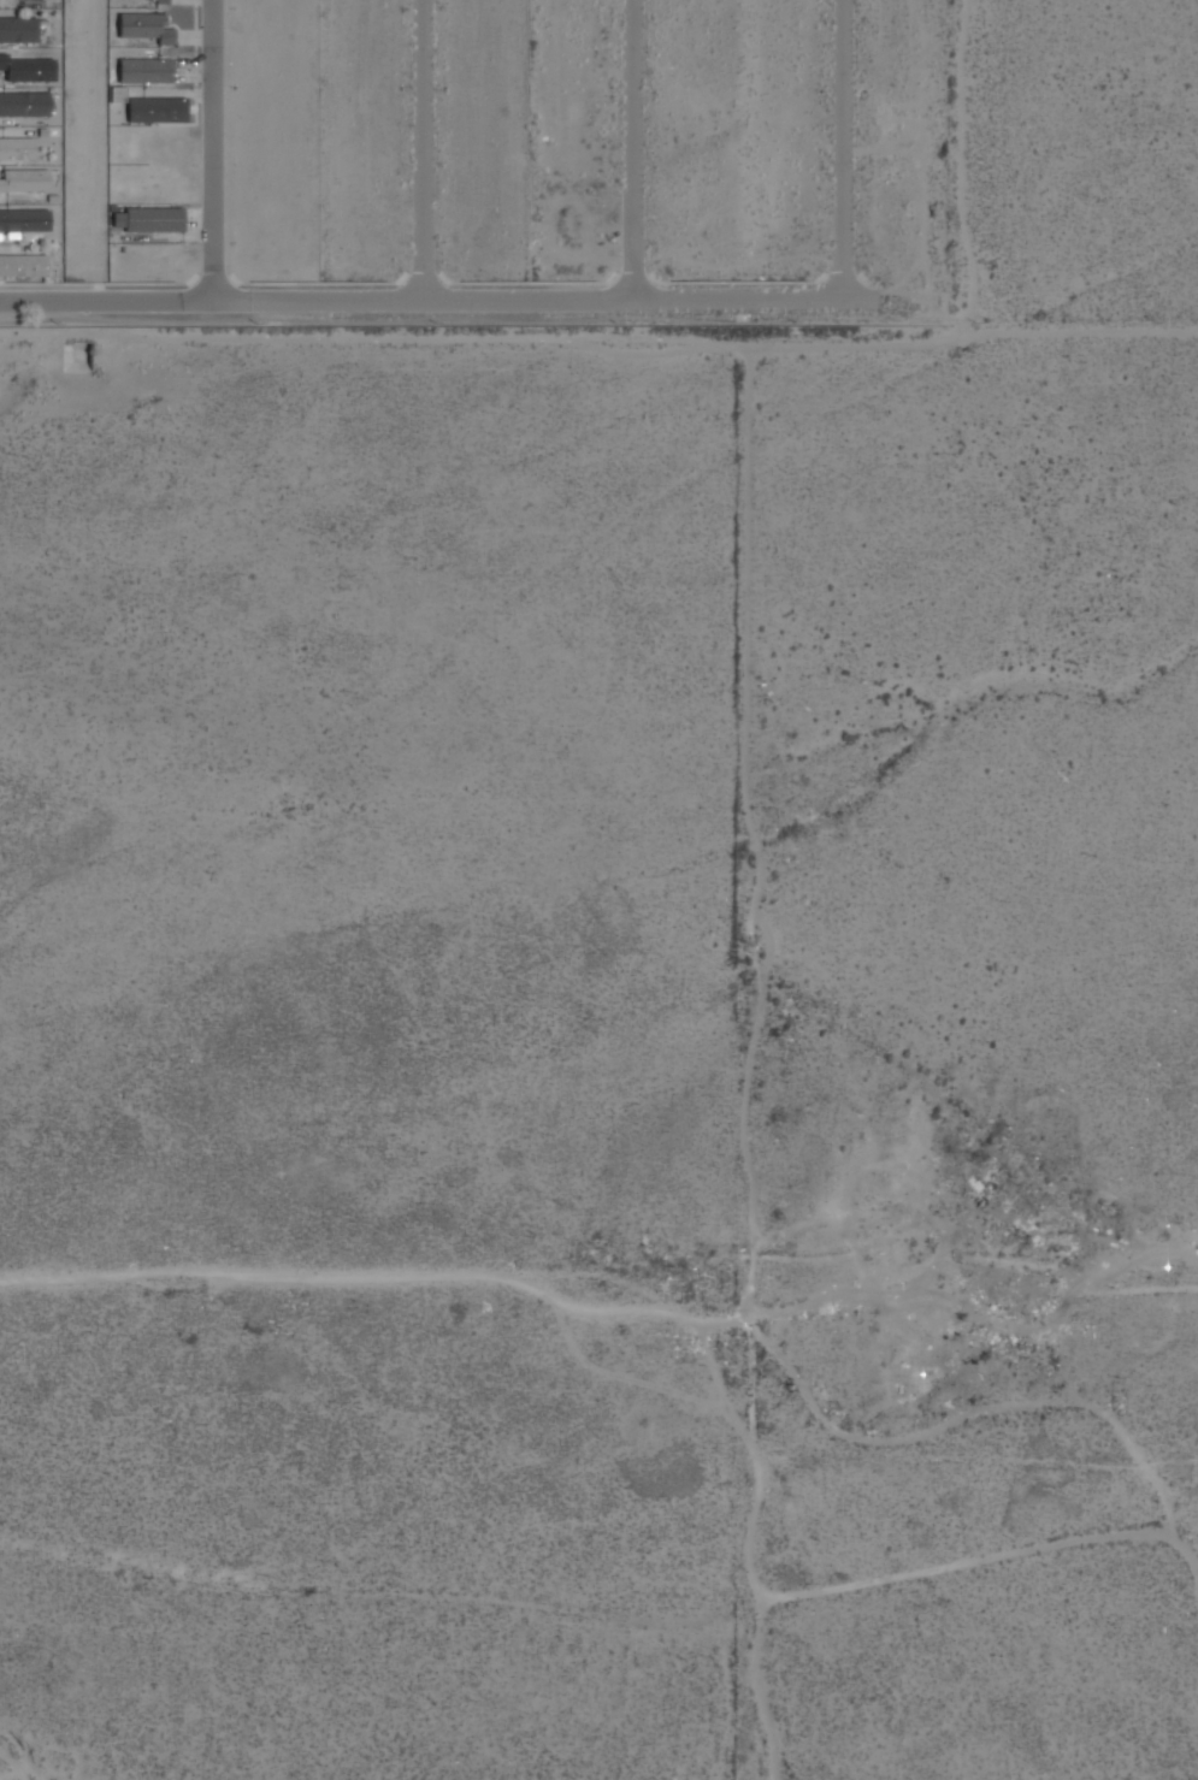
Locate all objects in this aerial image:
building: (161, 1)
building: (146, 28)
building: (19, 31)
building: (29, 70)
building: (144, 72)
building: (116, 93)
building: (24, 106)
building: (159, 111)
road: (838, 148)
building: (17, 149)
road: (421, 149)
road: (628, 149)
road: (211, 150)
building: (25, 182)
building: (24, 220)
building: (147, 221)
building: (22, 266)
road: (419, 298)

